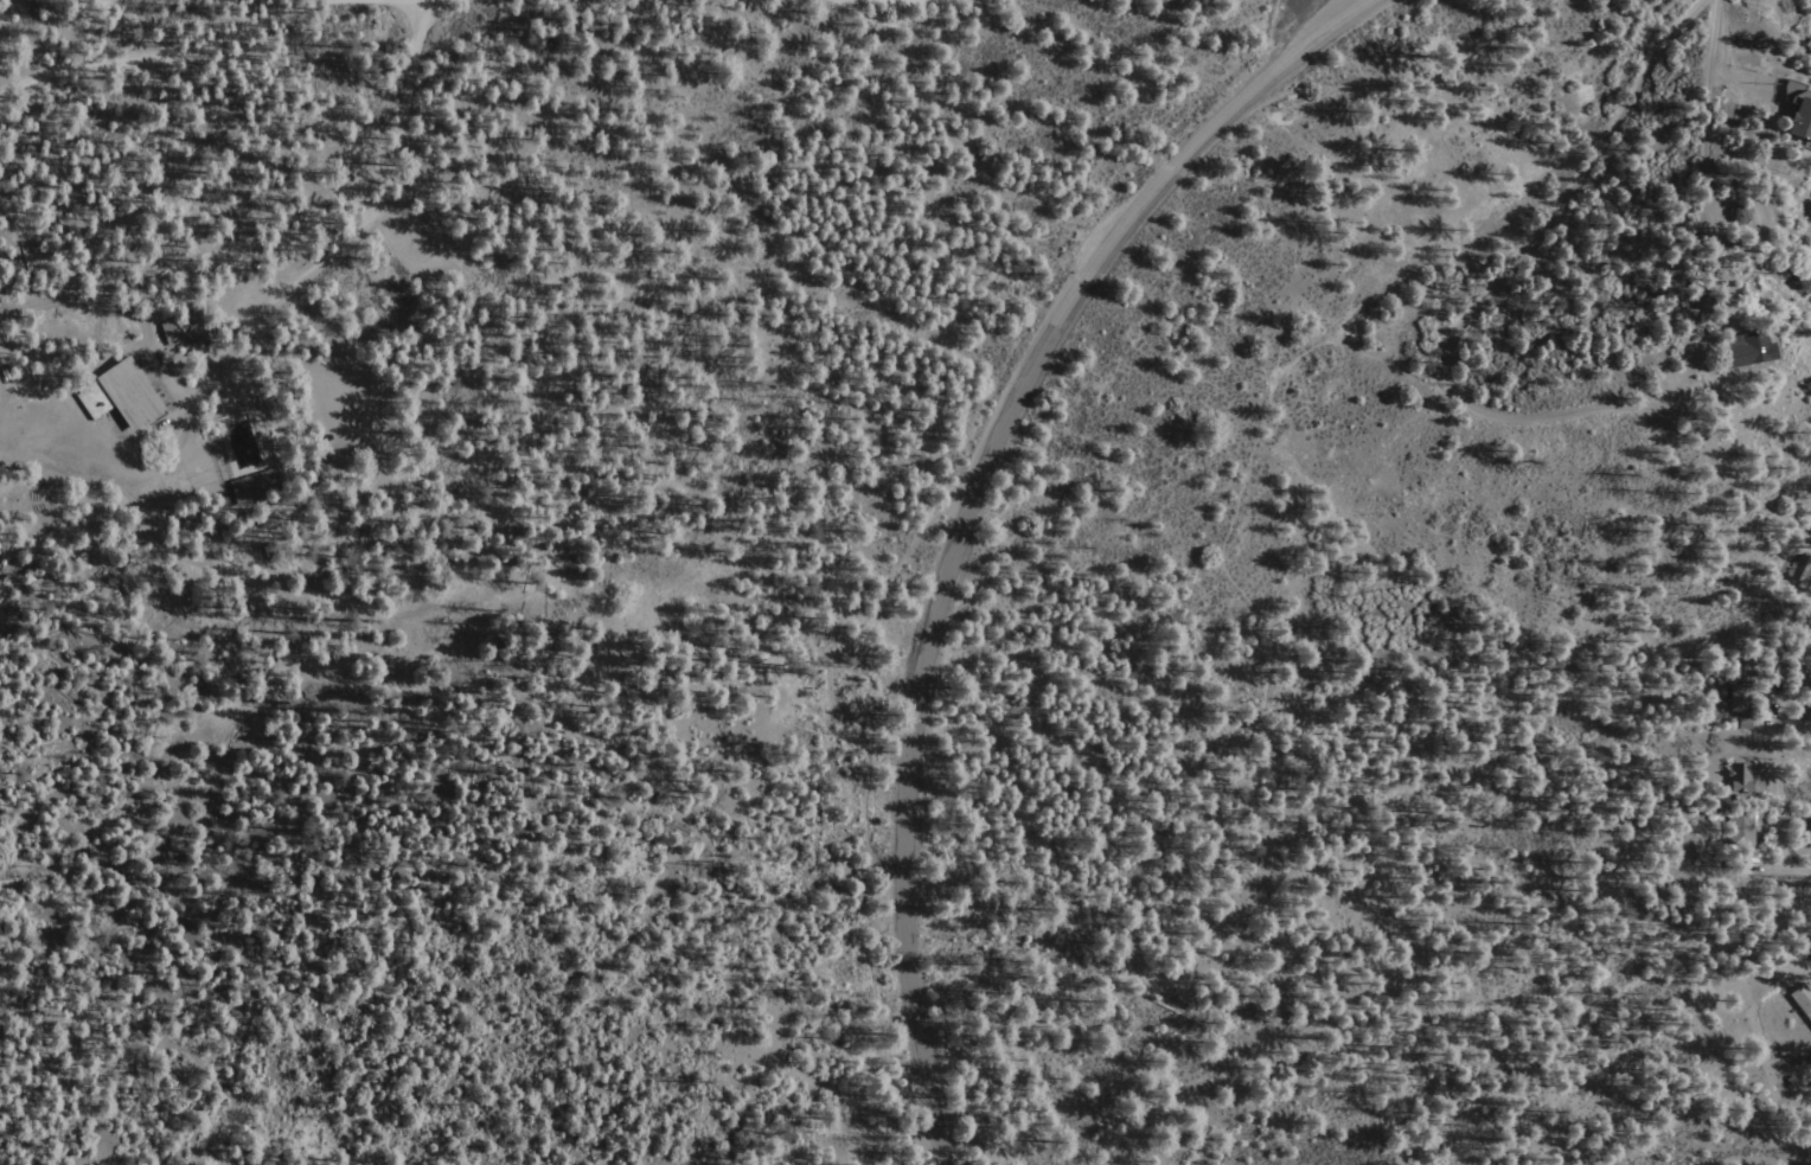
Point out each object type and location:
road: (913, 0)
road: (1359, 4)
road: (65, 30)
road: (179, 52)
road: (1741, 53)
building: (1802, 102)
road: (1471, 311)
road: (251, 324)
building: (187, 328)
building: (1754, 351)
building: (127, 396)
building: (249, 452)
building: (177, 486)
road: (968, 511)
road: (901, 578)
building: (1734, 703)
building: (1738, 774)
road: (1783, 793)
building: (1741, 824)
building: (1807, 830)
building: (1802, 998)

